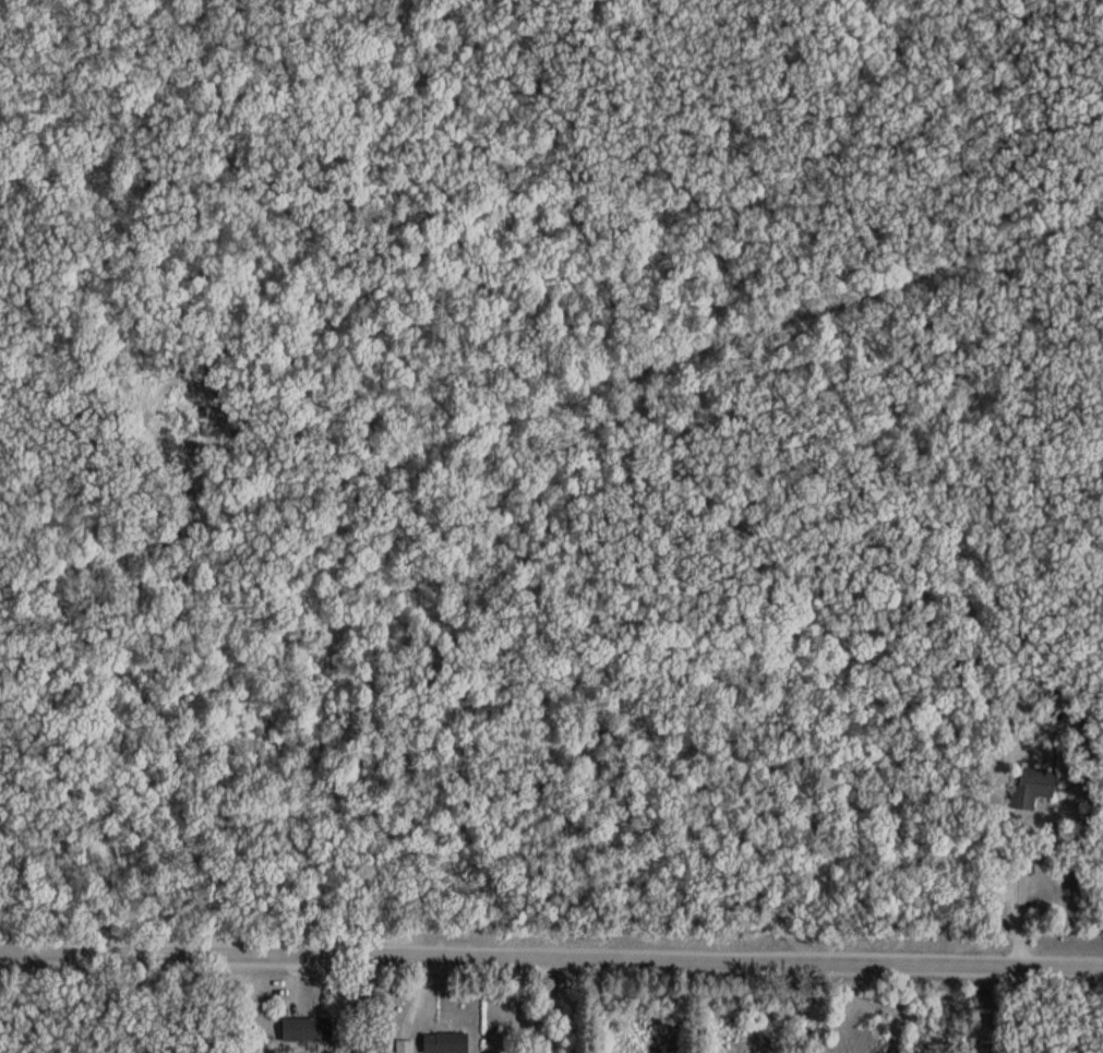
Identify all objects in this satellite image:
building: (1032, 787)
road: (1021, 888)
road: (551, 959)
road: (356, 1005)
building: (308, 1030)
building: (446, 1042)

